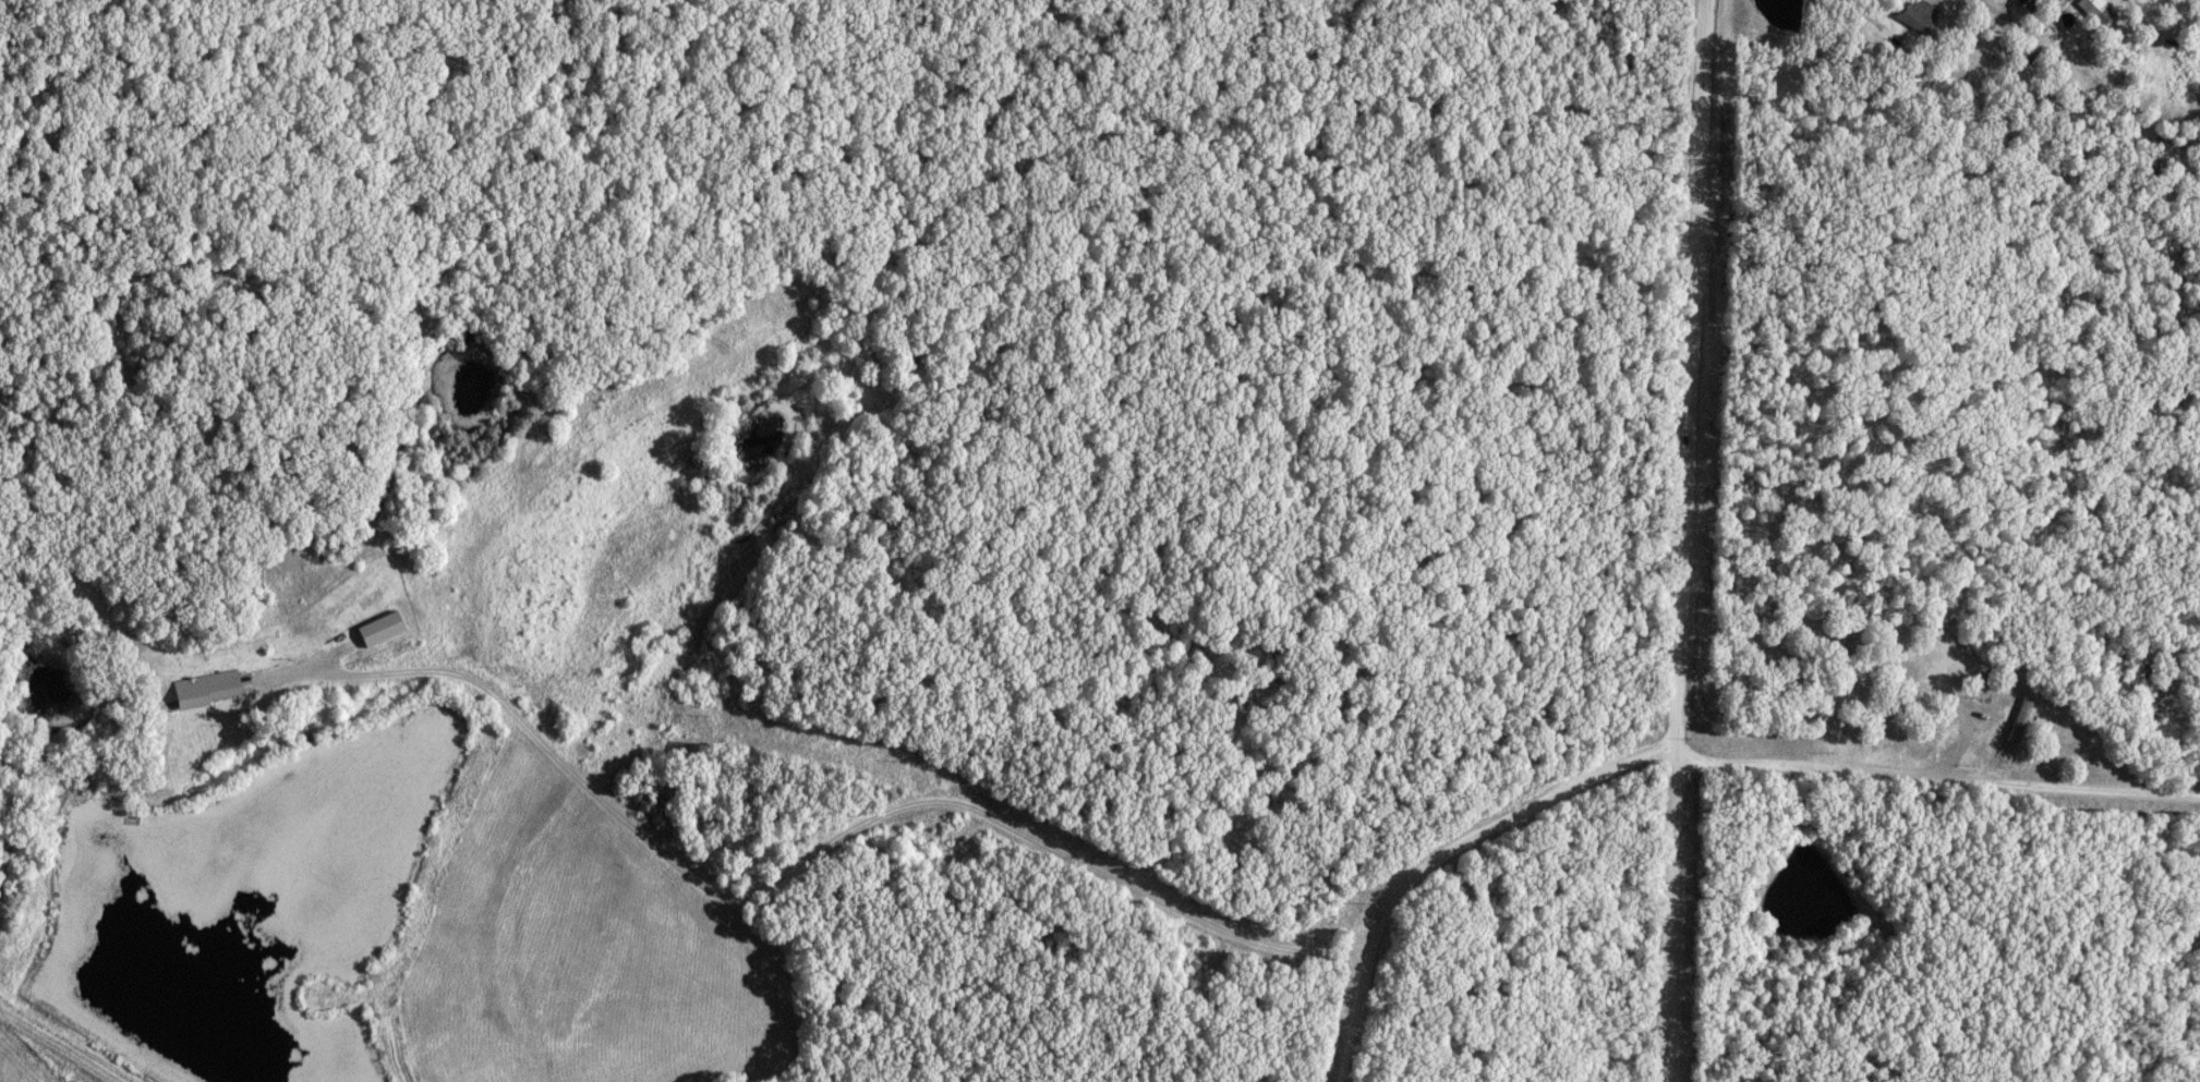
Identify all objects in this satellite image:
building: (2031, 4)
building: (2057, 4)
building: (2099, 11)
building: (1919, 15)
road: (1919, 59)
road: (1682, 540)
building: (382, 629)
building: (1948, 666)
building: (208, 689)
building: (2020, 720)
road: (1678, 752)
road: (807, 858)

